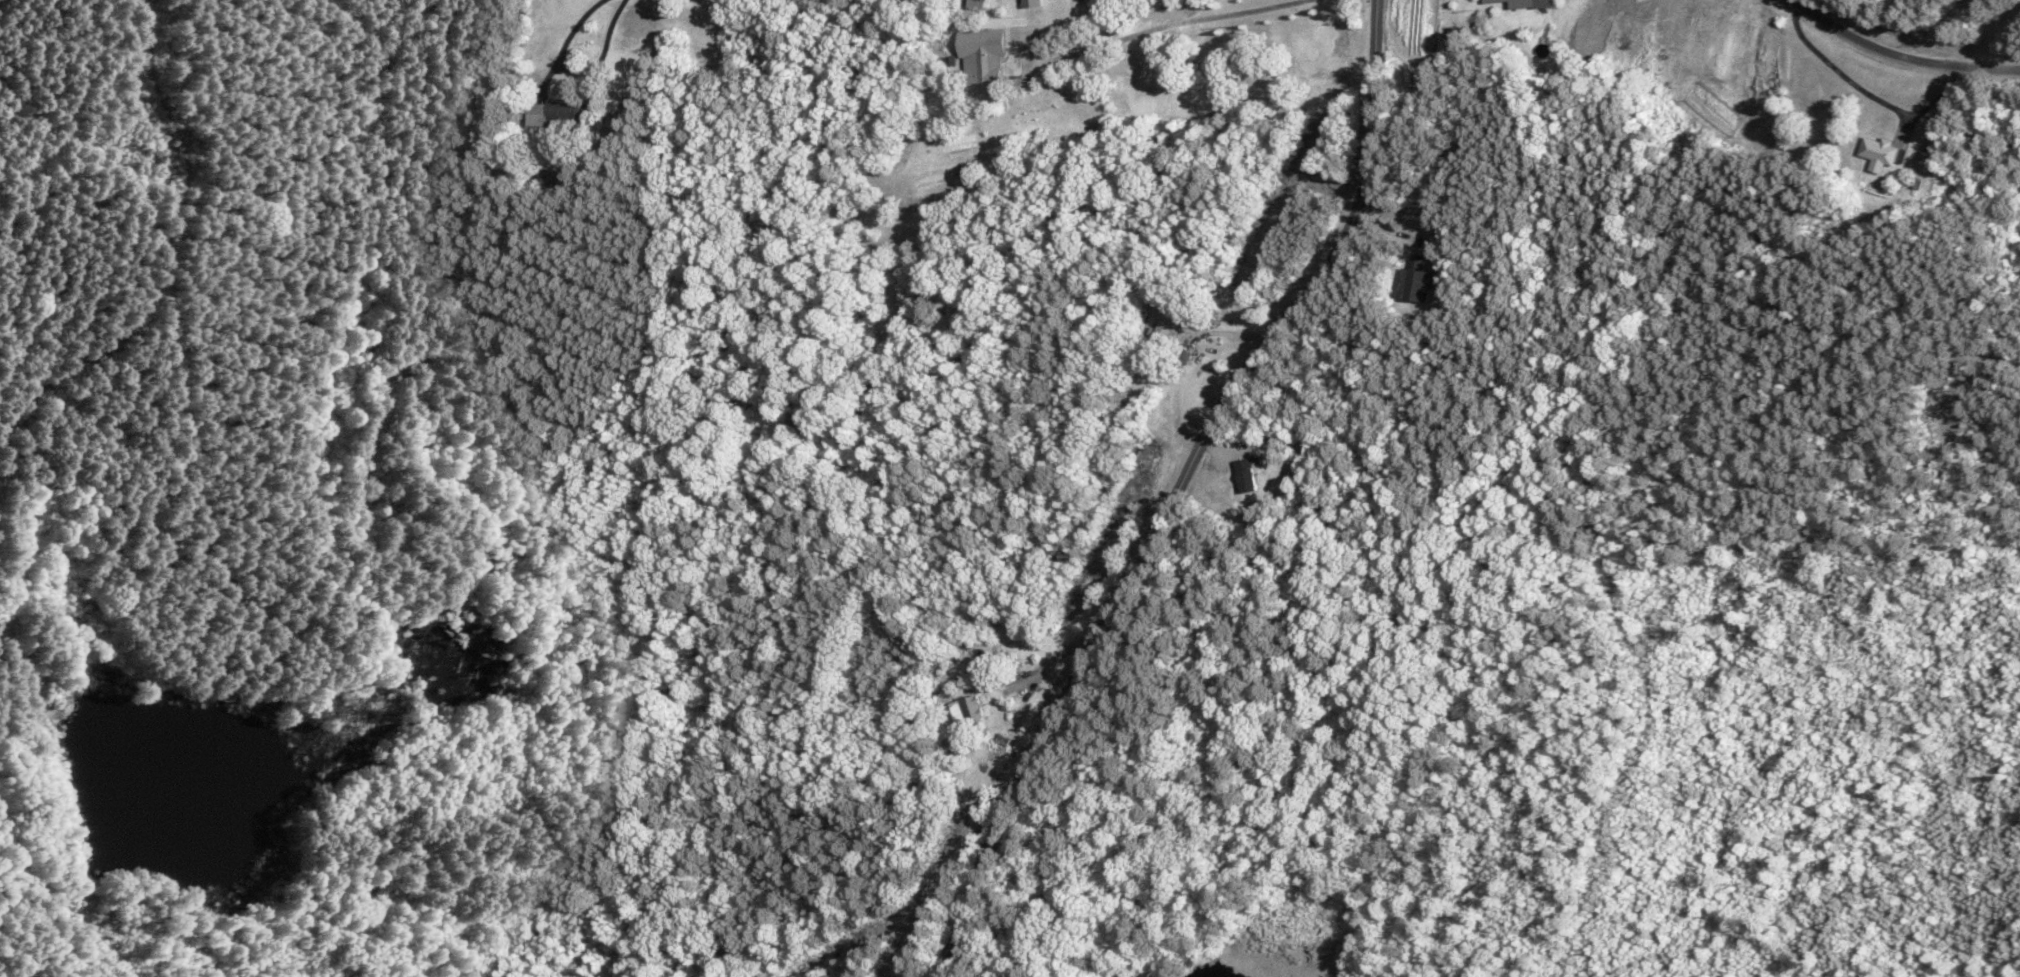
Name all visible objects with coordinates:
building: (1514, 2)
building: (976, 4)
road: (1167, 25)
road: (1992, 36)
road: (559, 45)
road: (597, 51)
road: (1894, 55)
building: (983, 74)
road: (1867, 97)
building: (554, 114)
building: (1881, 153)
building: (1415, 281)
building: (1163, 326)
building: (1141, 460)
road: (1172, 487)
building: (962, 642)
road: (1041, 667)
building: (965, 708)
building: (839, 974)

